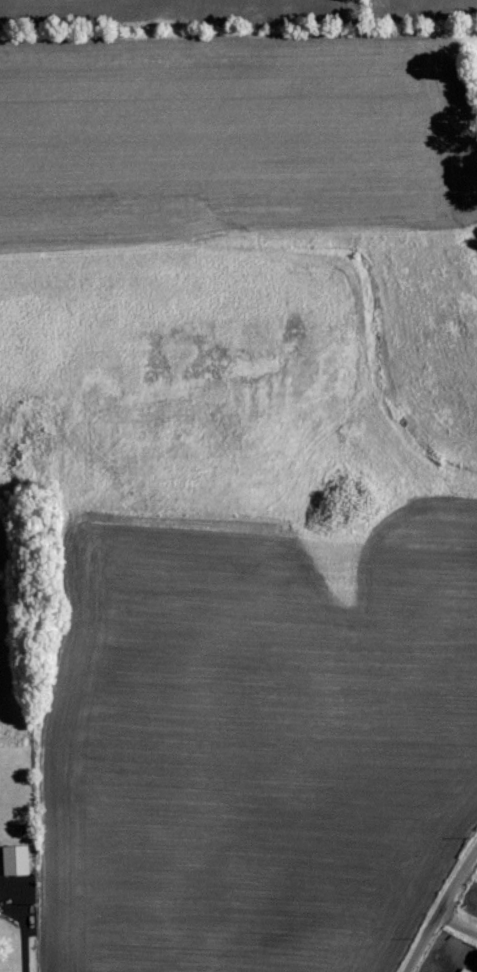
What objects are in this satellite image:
building: (18, 860)
road: (440, 908)
building: (1, 909)
road: (456, 925)
road: (24, 930)

